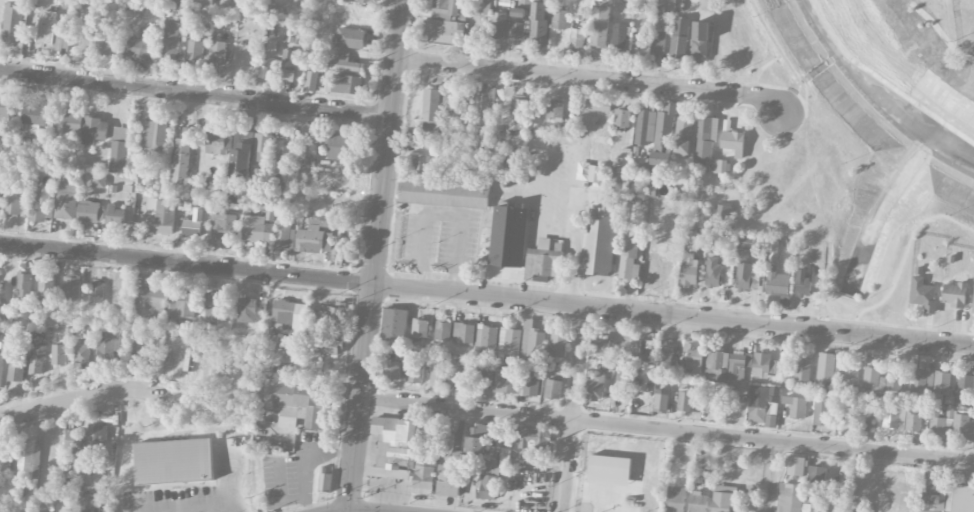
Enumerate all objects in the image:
building: (175, 1)
building: (365, 1)
building: (520, 3)
building: (68, 4)
building: (204, 4)
building: (445, 9)
building: (559, 19)
building: (13, 22)
building: (517, 23)
building: (539, 24)
building: (599, 27)
building: (81, 31)
building: (444, 31)
road: (941, 32)
building: (50, 33)
building: (619, 35)
building: (576, 37)
building: (350, 38)
building: (679, 38)
building: (172, 39)
building: (700, 42)
building: (657, 44)
building: (107, 45)
building: (271, 45)
building: (139, 46)
building: (196, 50)
building: (218, 50)
road: (780, 51)
building: (312, 60)
building: (345, 62)
building: (290, 67)
road: (593, 78)
building: (311, 80)
building: (346, 84)
road: (195, 94)
building: (598, 105)
building: (450, 106)
building: (466, 107)
building: (486, 107)
building: (6, 108)
building: (431, 109)
building: (555, 110)
building: (518, 114)
building: (33, 116)
building: (621, 118)
building: (72, 125)
building: (645, 127)
building: (663, 129)
building: (94, 130)
building: (153, 135)
park: (858, 136)
building: (683, 137)
building: (216, 140)
building: (705, 141)
building: (733, 142)
building: (260, 146)
building: (337, 146)
building: (119, 149)
road: (548, 150)
building: (283, 153)
building: (182, 155)
building: (240, 157)
building: (304, 159)
building: (1, 162)
building: (419, 163)
building: (719, 166)
building: (509, 168)
building: (594, 173)
building: (615, 174)
building: (98, 180)
building: (338, 181)
building: (634, 189)
building: (652, 189)
building: (445, 194)
building: (0, 196)
building: (231, 197)
building: (66, 200)
building: (40, 204)
building: (13, 206)
building: (90, 211)
building: (722, 212)
road: (441, 213)
building: (115, 215)
building: (162, 215)
road: (823, 219)
building: (193, 224)
building: (224, 226)
building: (256, 229)
building: (317, 233)
building: (283, 234)
building: (508, 236)
building: (599, 242)
building: (747, 244)
building: (344, 251)
road: (376, 256)
building: (543, 260)
building: (629, 260)
road: (905, 260)
road: (568, 267)
building: (688, 269)
building: (713, 271)
building: (746, 277)
building: (776, 282)
building: (803, 283)
building: (24, 285)
building: (71, 288)
building: (46, 289)
building: (96, 293)
building: (923, 295)
building: (954, 295)
road: (486, 296)
building: (153, 298)
building: (182, 304)
building: (215, 305)
building: (973, 308)
building: (247, 310)
building: (289, 316)
building: (62, 317)
building: (326, 319)
building: (394, 324)
building: (420, 328)
building: (443, 331)
building: (464, 332)
building: (486, 336)
building: (533, 340)
building: (111, 345)
building: (322, 345)
building: (510, 345)
building: (558, 345)
building: (600, 345)
building: (645, 347)
building: (146, 348)
building: (82, 352)
building: (59, 355)
building: (38, 359)
building: (665, 359)
building: (692, 361)
building: (716, 365)
building: (739, 365)
building: (763, 365)
building: (1, 368)
building: (16, 368)
building: (825, 369)
building: (392, 370)
building: (802, 370)
building: (439, 372)
building: (415, 373)
building: (624, 373)
building: (850, 374)
building: (460, 376)
building: (485, 379)
building: (873, 380)
building: (921, 380)
building: (506, 381)
building: (894, 381)
building: (531, 384)
building: (941, 386)
building: (965, 387)
building: (594, 388)
building: (553, 389)
building: (686, 398)
road: (83, 399)
building: (661, 399)
building: (761, 401)
building: (302, 403)
building: (713, 406)
building: (795, 406)
road: (572, 408)
building: (821, 412)
building: (771, 415)
building: (846, 415)
building: (894, 419)
building: (914, 422)
building: (936, 422)
building: (865, 424)
building: (962, 427)
road: (666, 430)
building: (94, 436)
building: (534, 437)
building: (74, 439)
building: (477, 439)
building: (395, 448)
building: (173, 462)
building: (28, 463)
building: (795, 466)
building: (609, 470)
building: (424, 473)
building: (817, 474)
building: (493, 476)
road: (774, 477)
building: (324, 481)
building: (448, 481)
building: (934, 494)
building: (790, 497)
building: (676, 499)
building: (724, 499)
building: (960, 499)
building: (91, 500)
building: (698, 502)
building: (812, 504)
road: (187, 505)
building: (857, 510)

